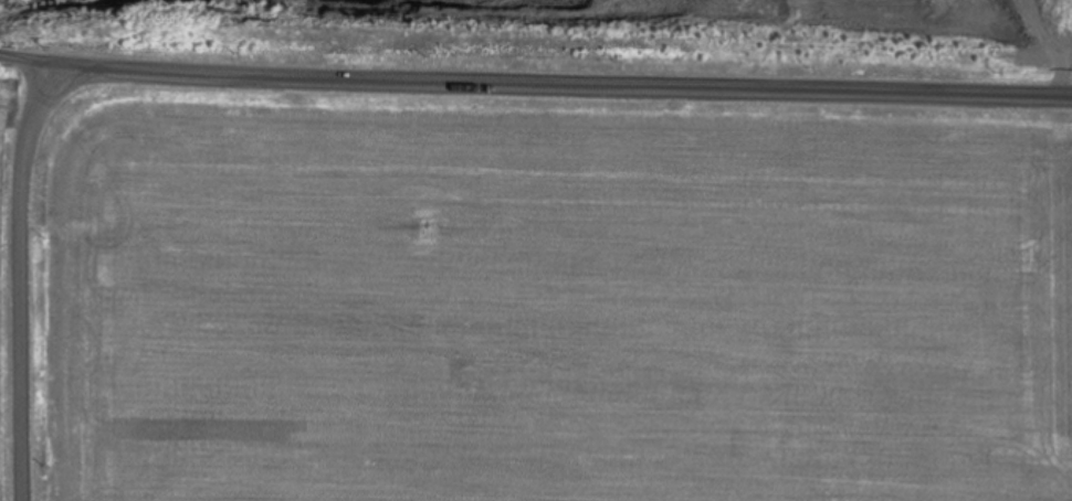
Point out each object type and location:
crop: (1071, 28)
quarry: (579, 33)
road: (535, 82)
road: (24, 265)
crop: (3, 333)

